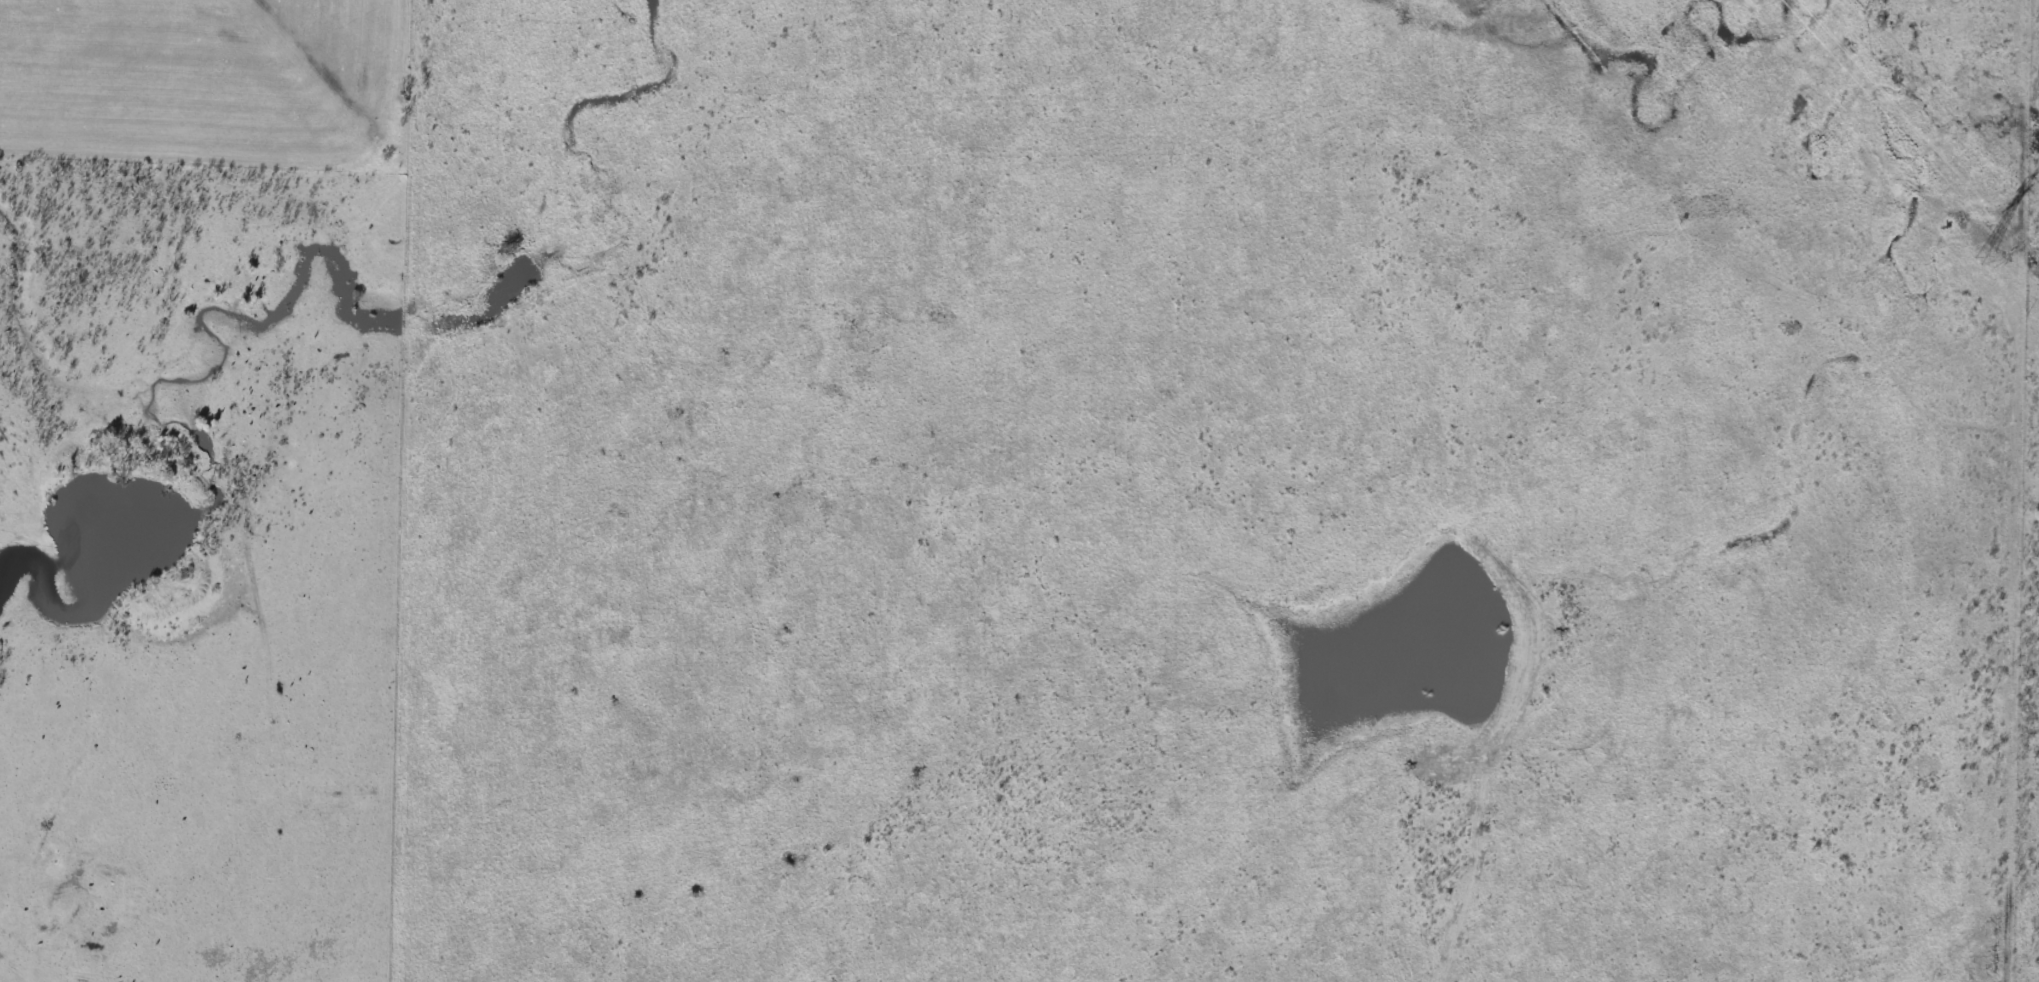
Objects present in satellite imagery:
power tower: (1983, 256)

